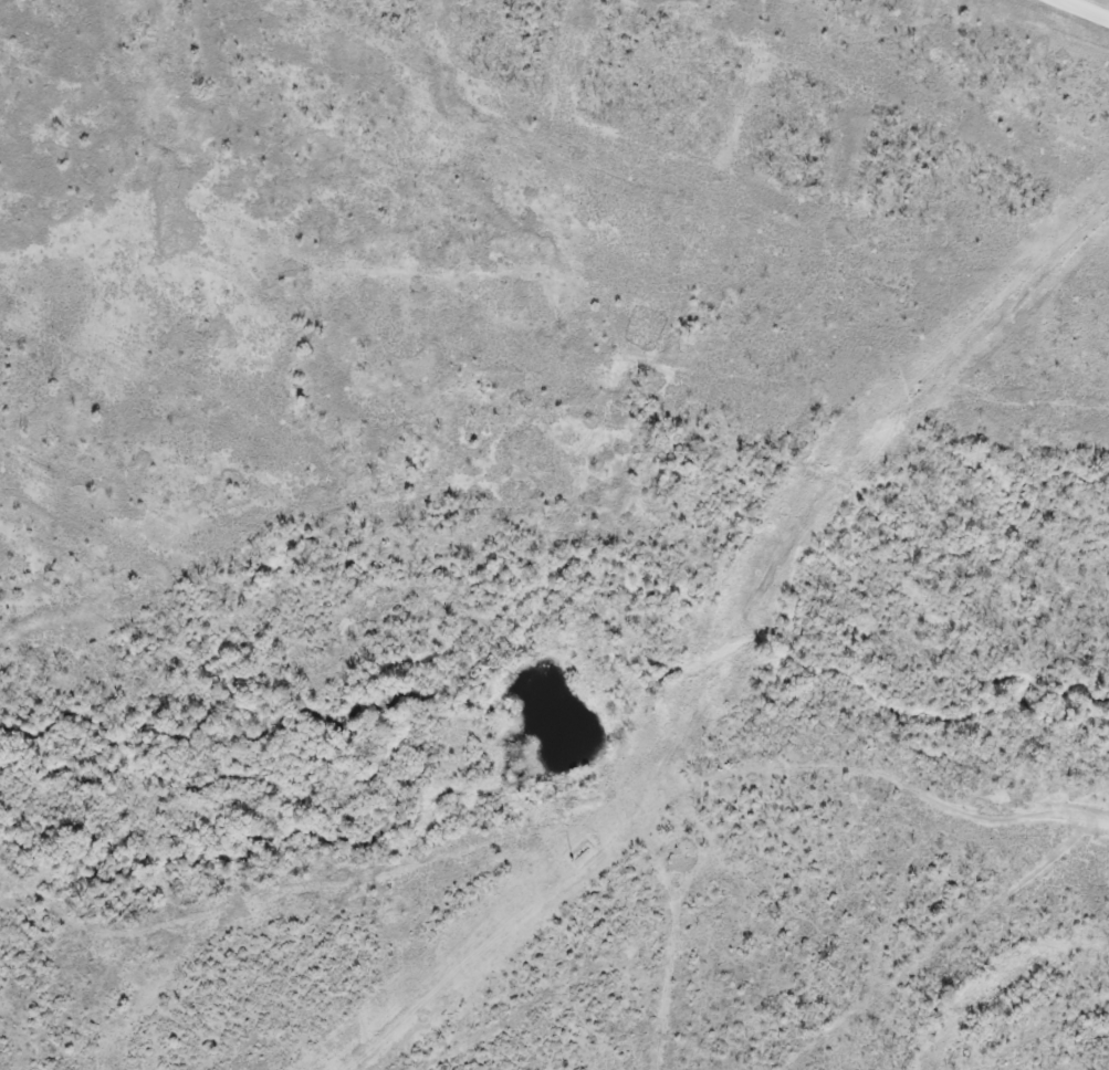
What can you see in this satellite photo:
road: (1081, 11)

